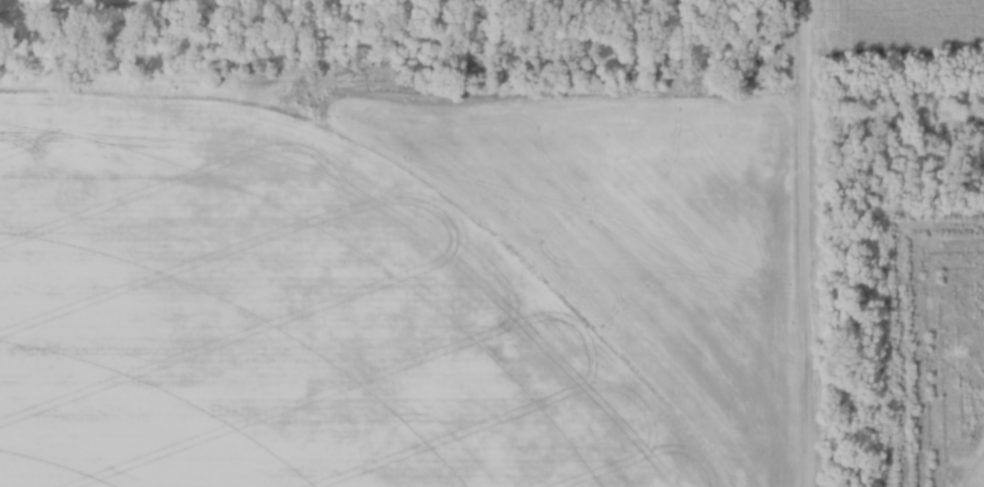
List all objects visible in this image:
road: (805, 243)

